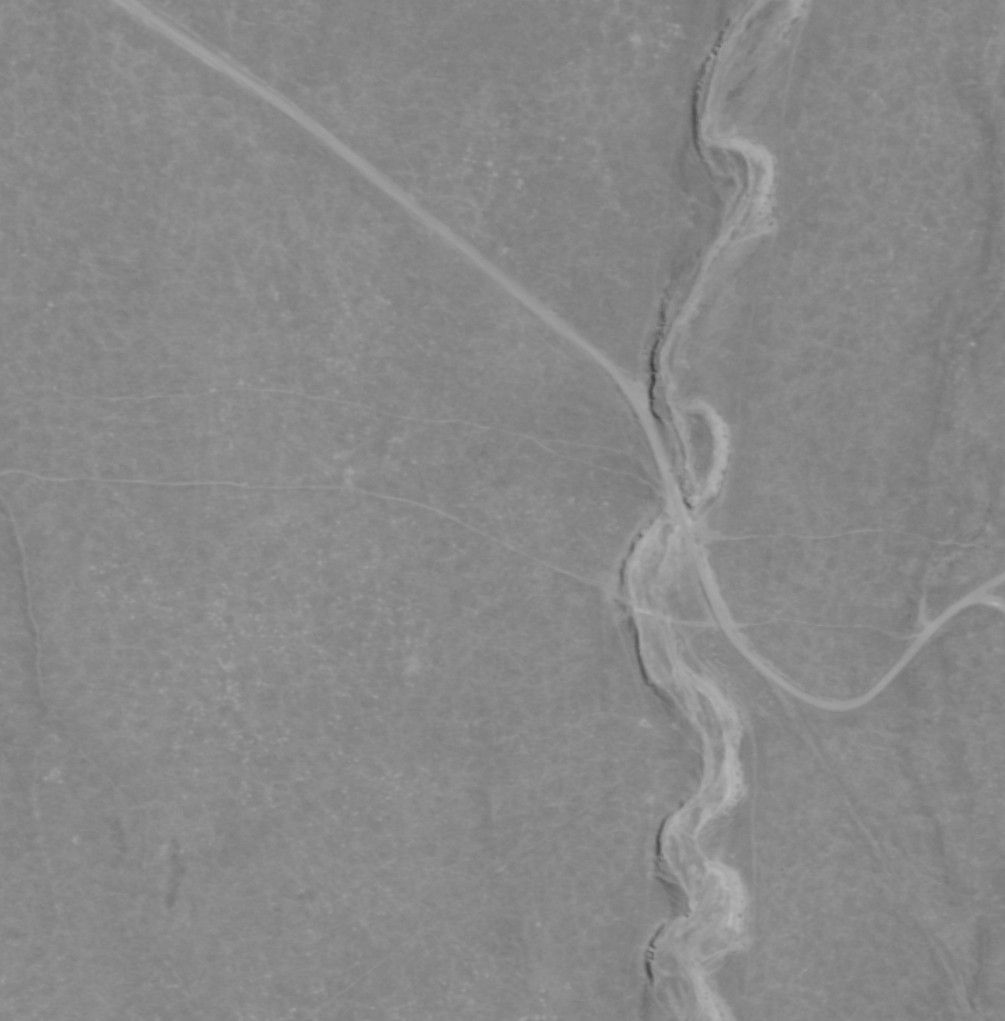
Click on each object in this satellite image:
road: (618, 383)

